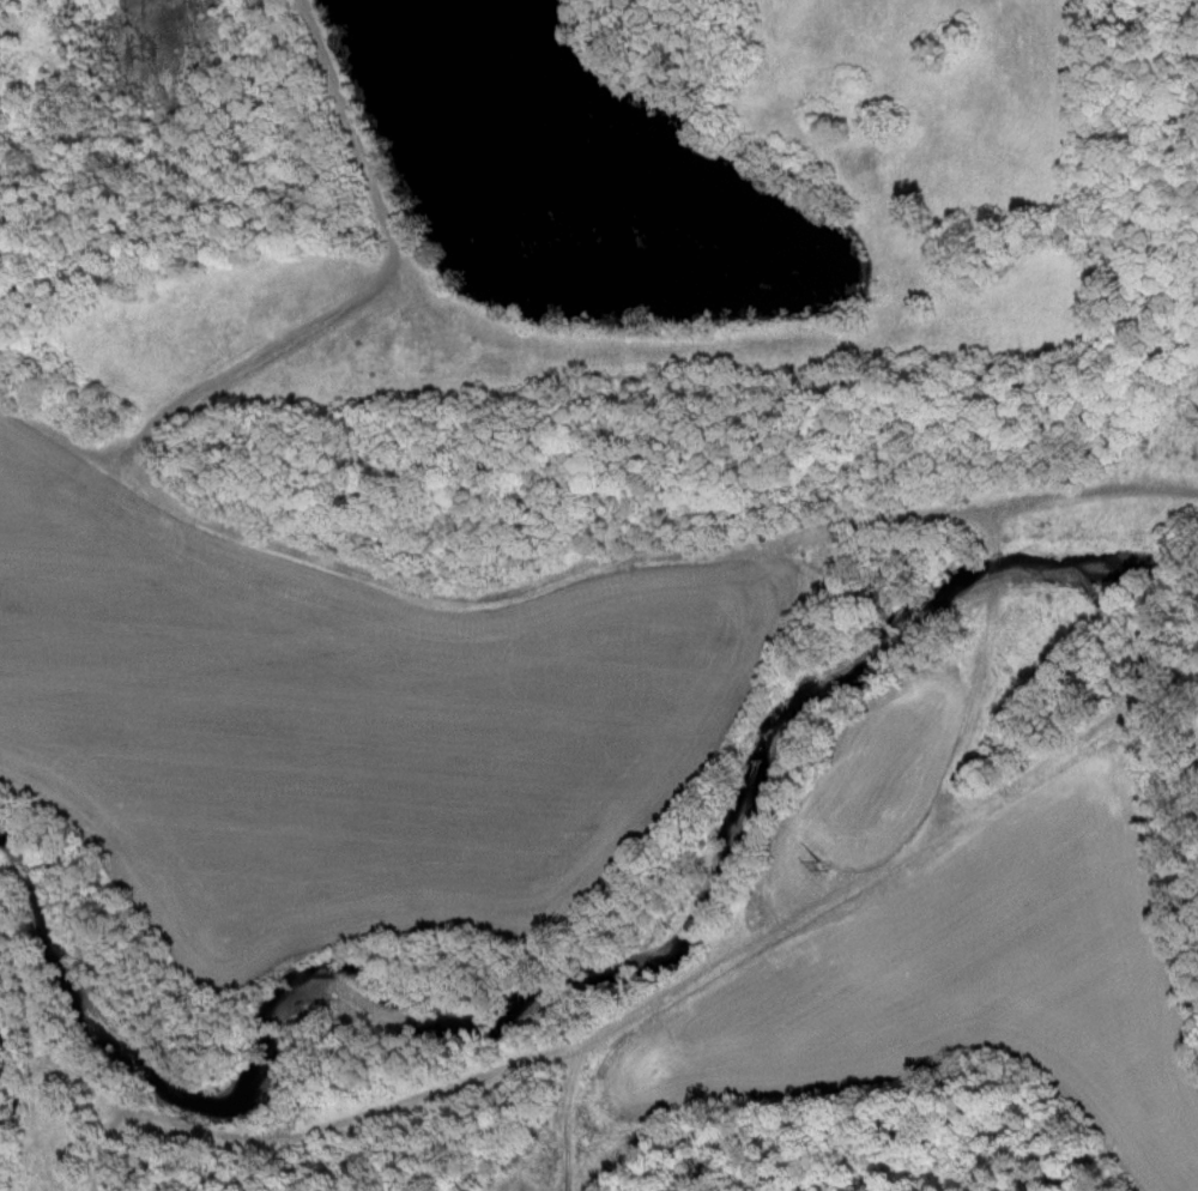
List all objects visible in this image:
road: (355, 562)
road: (990, 667)
road: (1087, 724)
power tower: (830, 857)

